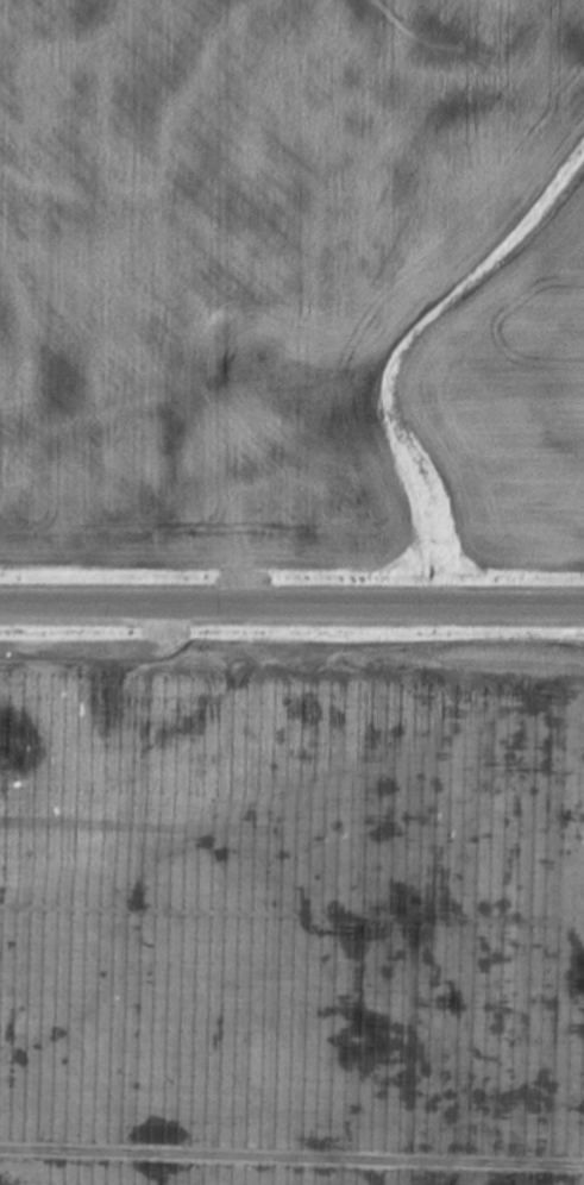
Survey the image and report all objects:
road: (291, 606)
solar farm: (290, 921)

